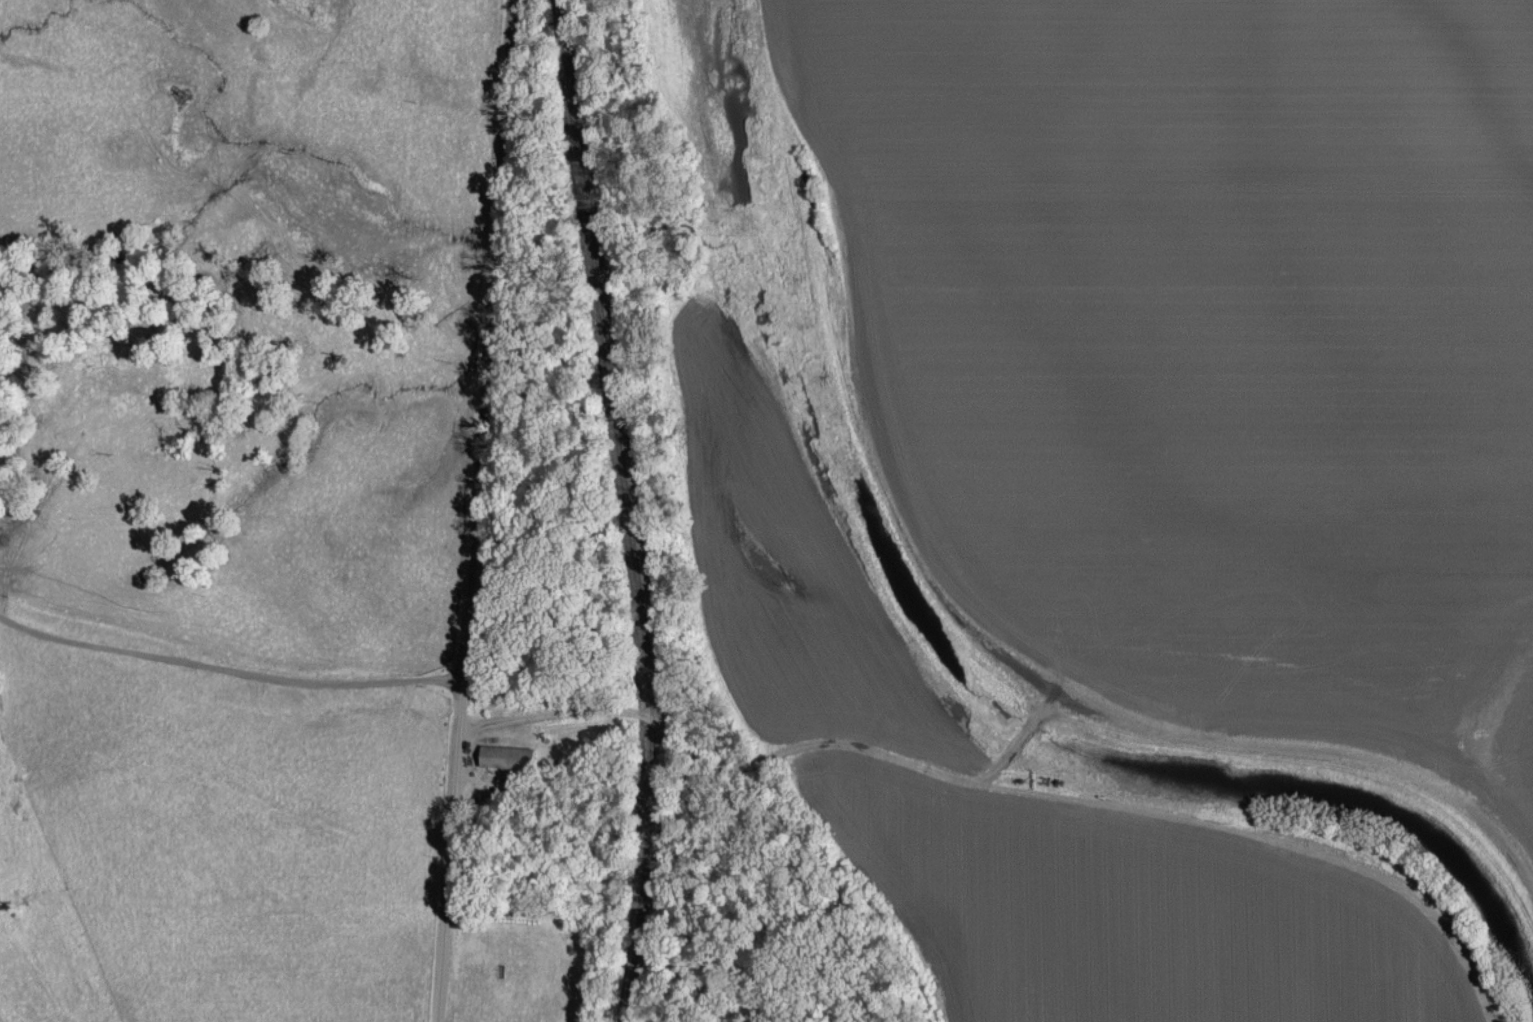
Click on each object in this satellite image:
railway: (626, 509)
road: (476, 511)
road: (1008, 753)
building: (503, 756)
road: (1279, 834)

